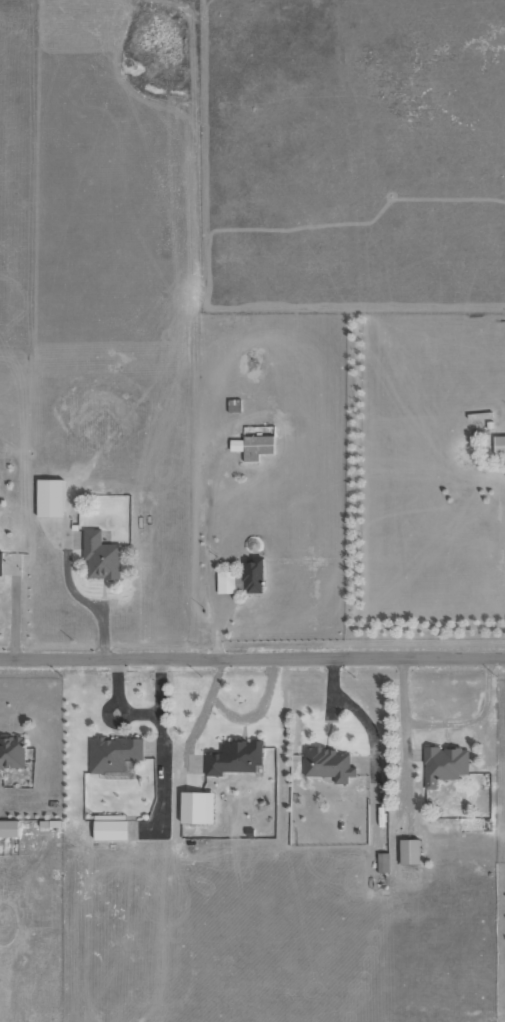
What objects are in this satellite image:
building: (499, 445)
building: (252, 446)
building: (49, 497)
building: (100, 556)
building: (0, 561)
building: (253, 575)
road: (252, 658)
building: (12, 752)
building: (113, 753)
building: (234, 757)
building: (328, 764)
building: (444, 764)
building: (196, 807)
building: (110, 826)
building: (8, 828)
building: (409, 851)
building: (382, 862)

